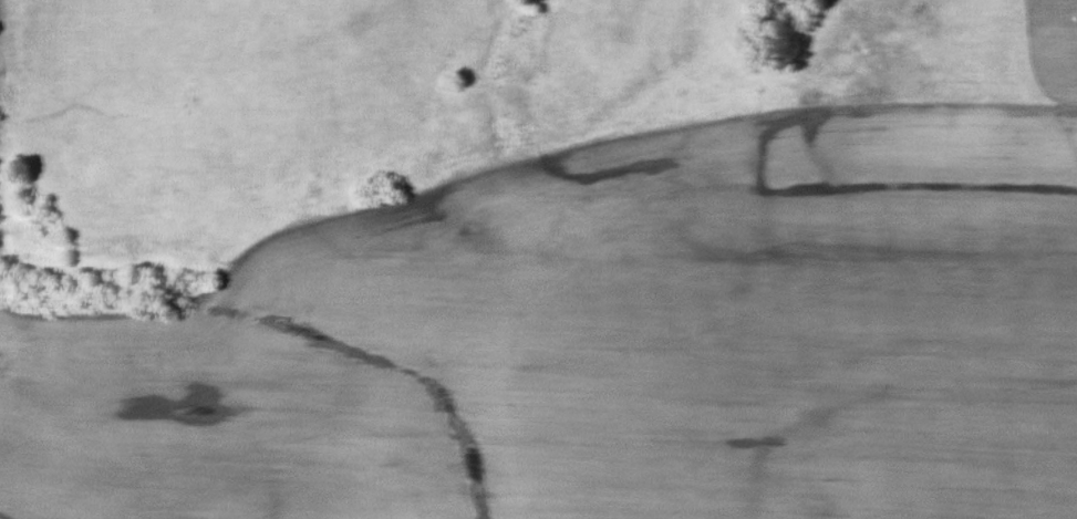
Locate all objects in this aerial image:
crop: (607, 340)

